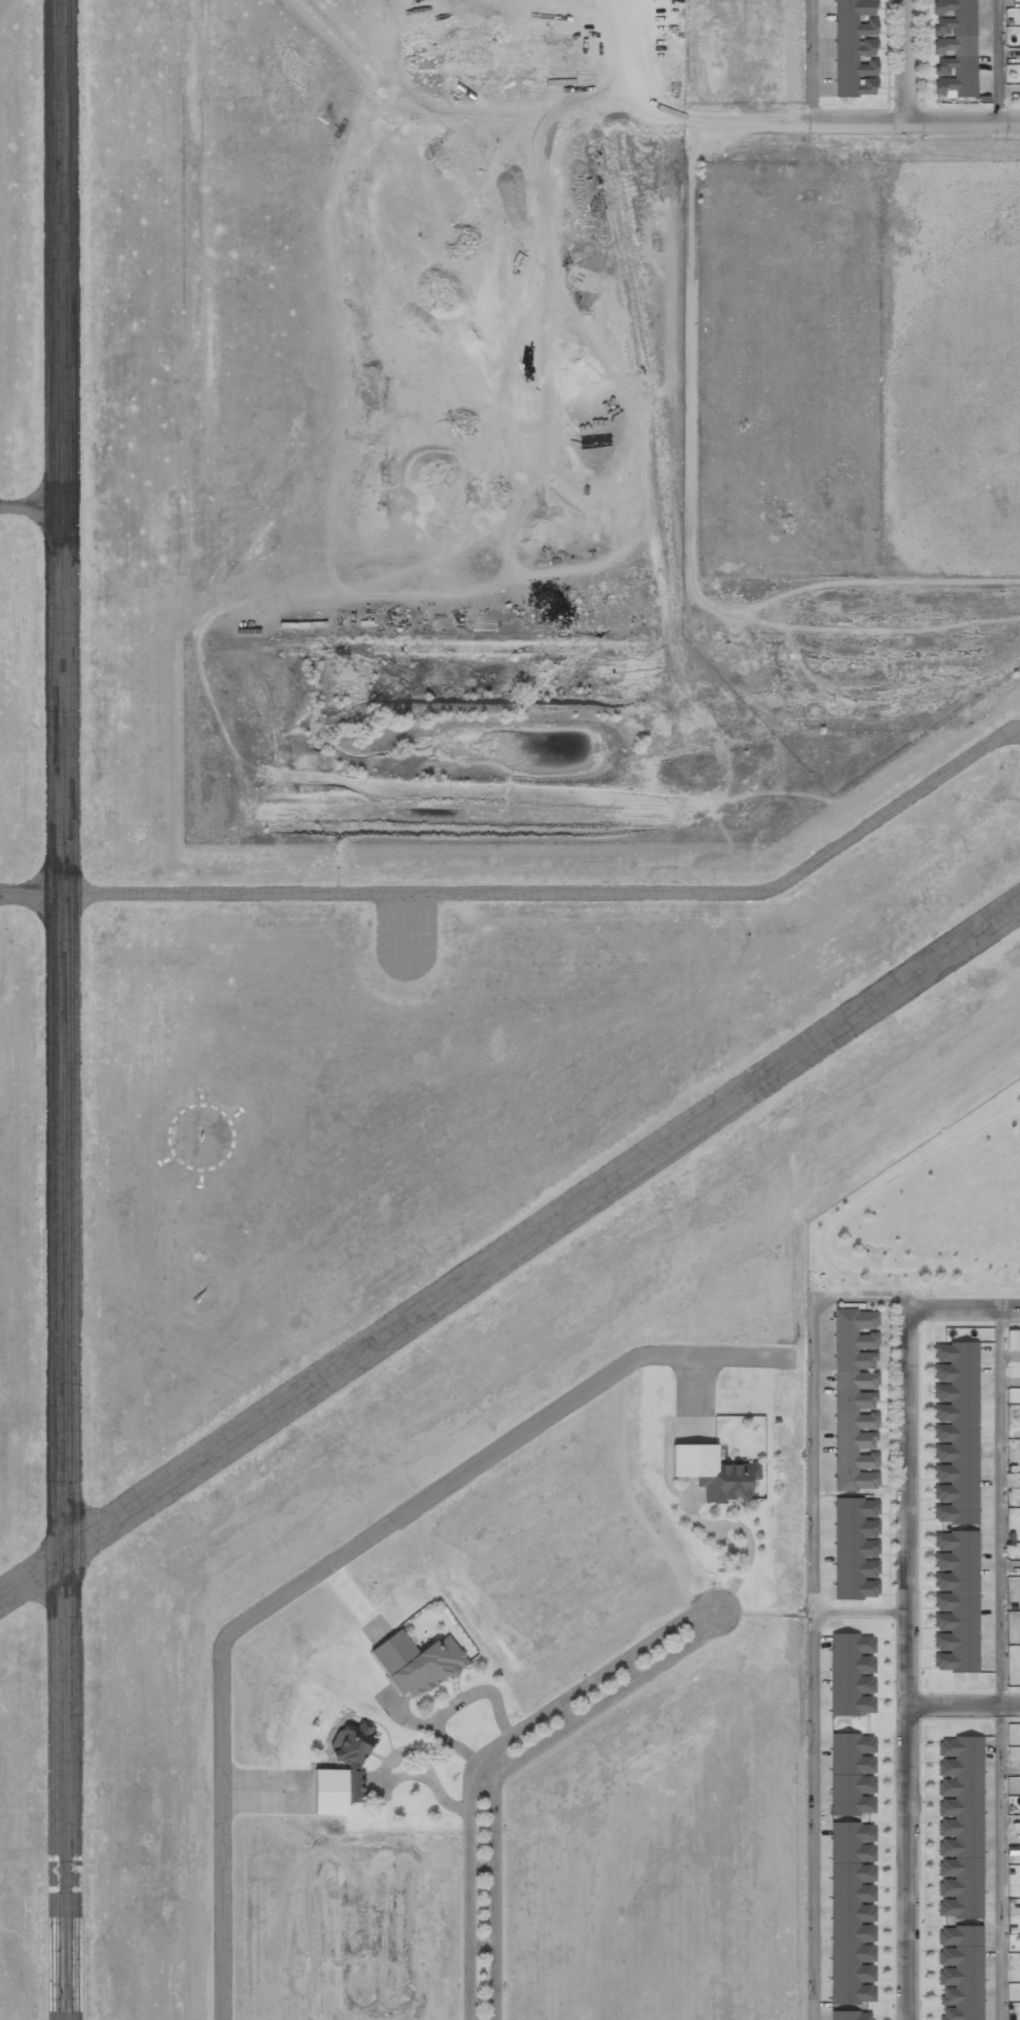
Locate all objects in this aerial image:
building: (856, 48)
building: (954, 49)
building: (1019, 57)
road: (811, 58)
road: (901, 59)
road: (1000, 59)
road: (915, 118)
airport taxiway: (30, 508)
airport taxiway: (534, 893)
airport runway: (62, 1009)
airport: (411, 1041)
airport runway: (510, 1249)
road: (966, 1309)
building: (857, 1399)
building: (955, 1433)
building: (714, 1472)
building: (857, 1547)
airport taxiway: (301, 1583)
building: (955, 1601)
road: (702, 1613)
building: (417, 1662)
road: (913, 1664)
road: (1001, 1664)
building: (853, 1674)
road: (966, 1708)
building: (342, 1770)
building: (853, 1774)
building: (960, 1828)
building: (854, 1912)
building: (960, 1971)
building: (852, 2015)

